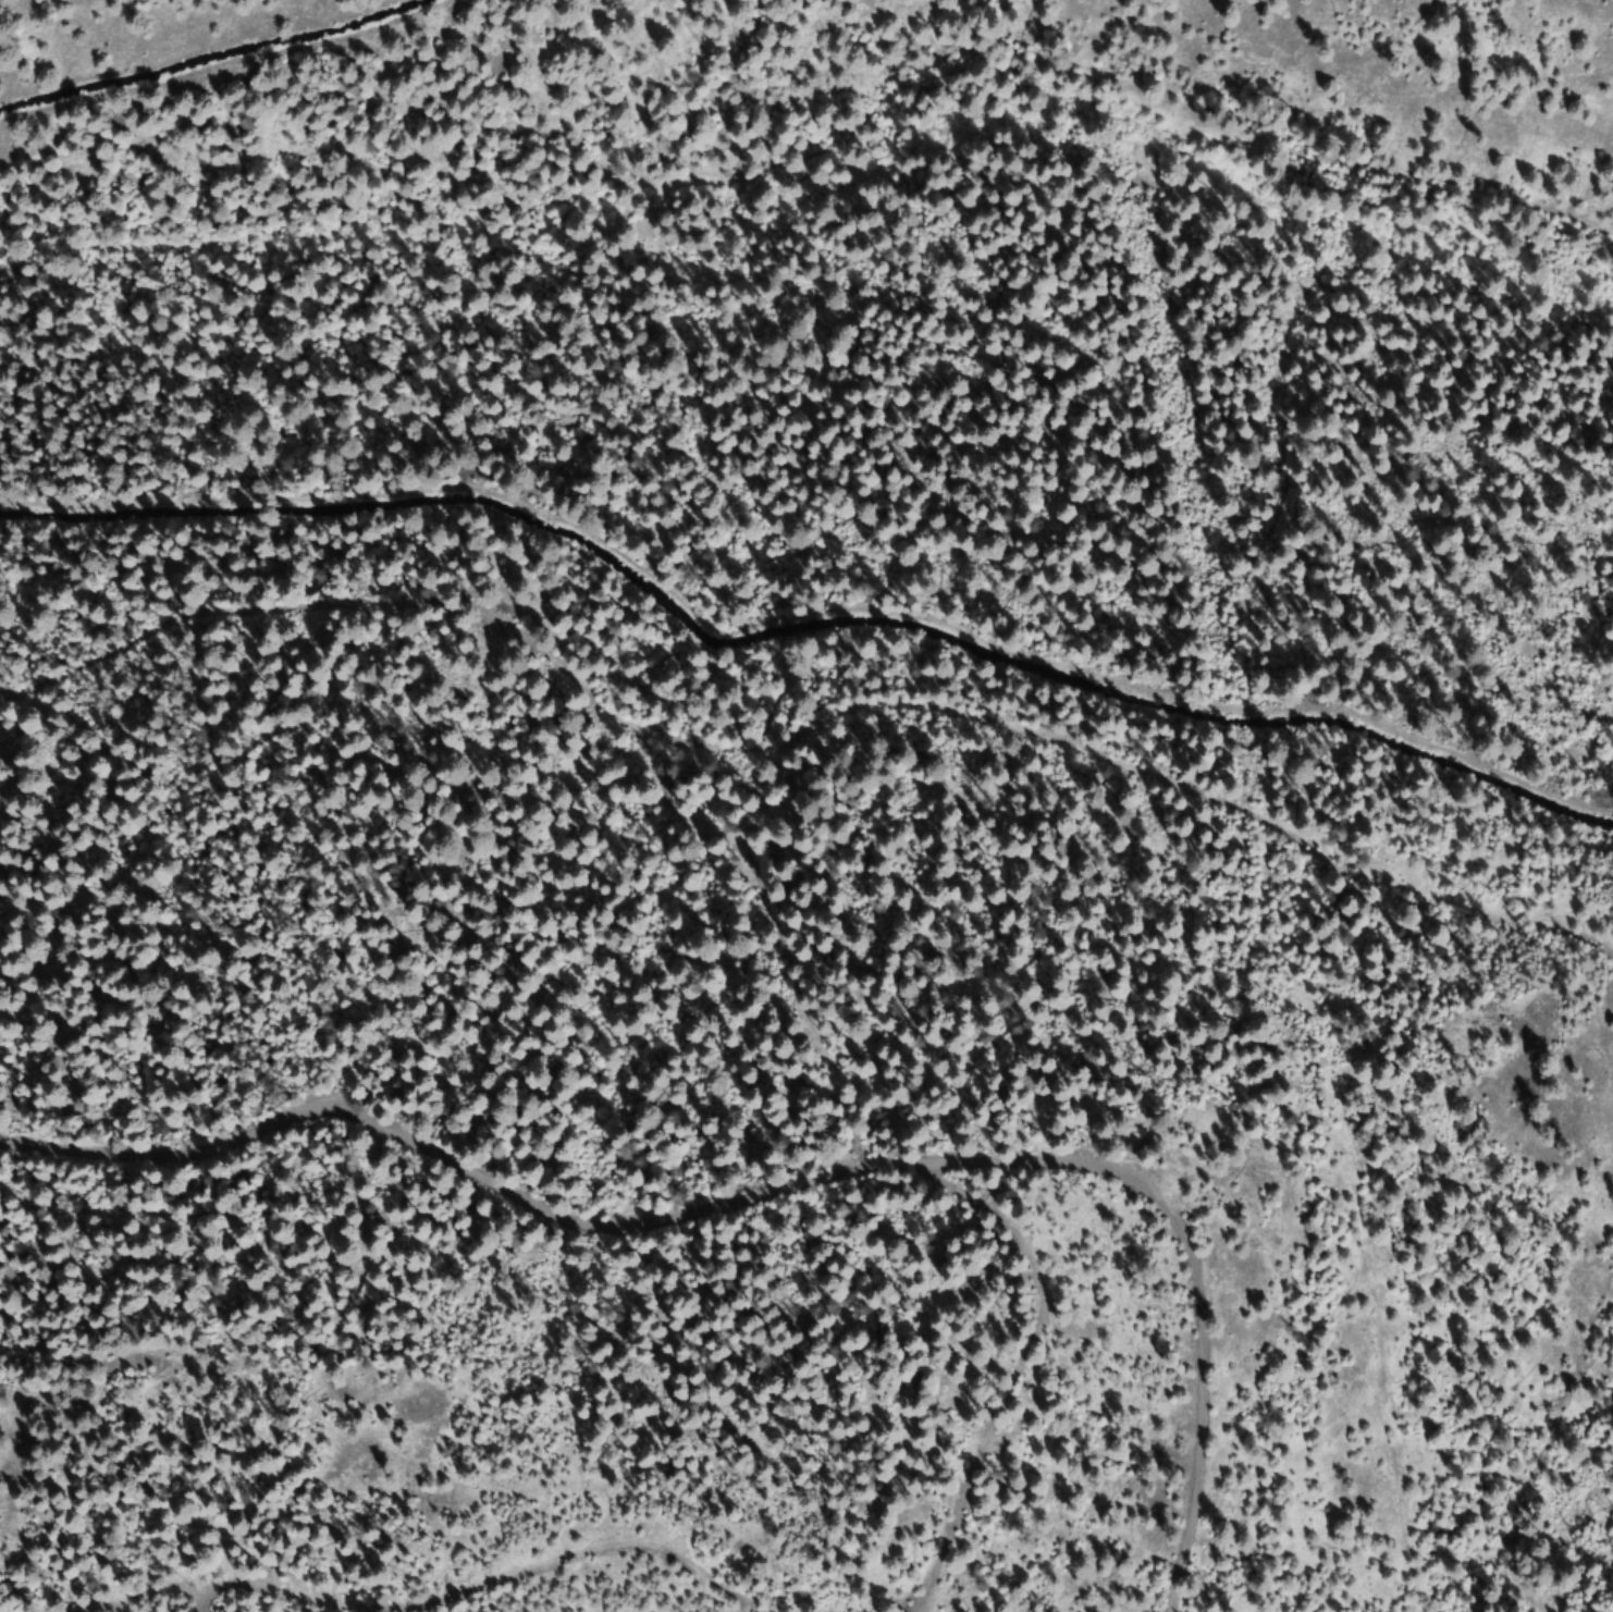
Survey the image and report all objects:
road: (15, 4)
road: (1523, 932)
road: (779, 1161)
road: (1045, 1420)
road: (1566, 1461)
road: (591, 1556)

